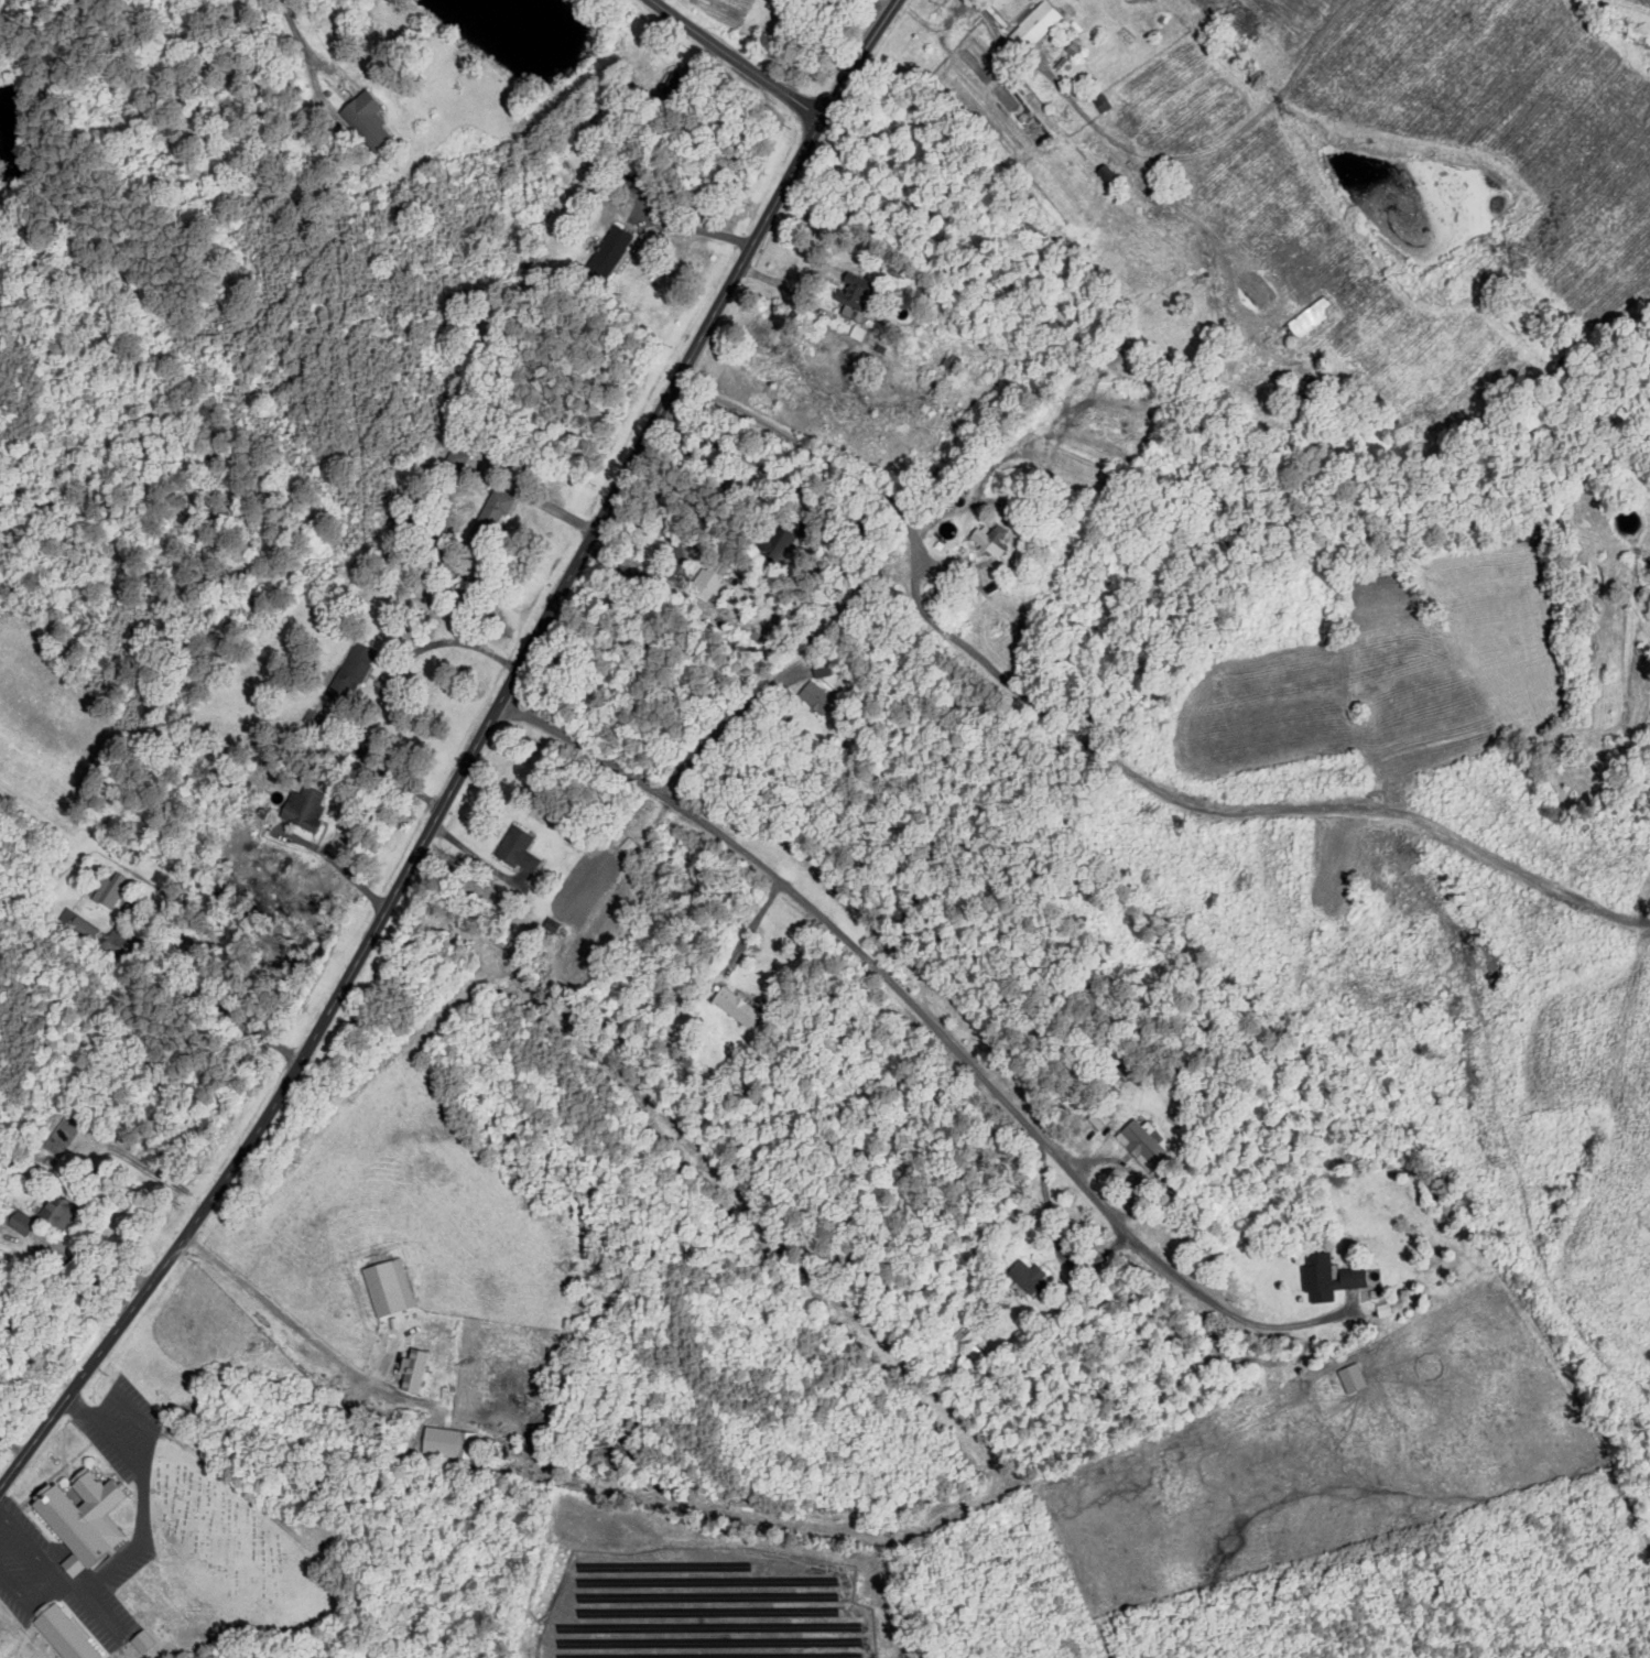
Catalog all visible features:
building: (1032, 24)
road: (301, 43)
road: (743, 59)
building: (365, 119)
building: (606, 252)
building: (848, 290)
building: (847, 312)
road: (734, 452)
building: (455, 457)
building: (492, 508)
building: (988, 540)
building: (771, 543)
building: (708, 585)
building: (349, 670)
building: (812, 696)
road: (1098, 748)
road: (468, 760)
building: (298, 808)
building: (514, 848)
building: (109, 890)
building: (79, 923)
building: (732, 1005)
road: (907, 1010)
building: (1138, 1144)
building: (56, 1211)
building: (21, 1221)
building: (1027, 1277)
building: (1327, 1278)
building: (387, 1286)
building: (413, 1369)
building: (1349, 1378)
building: (77, 1516)
solar farm: (708, 1606)
building: (61, 1633)
building: (139, 1639)

